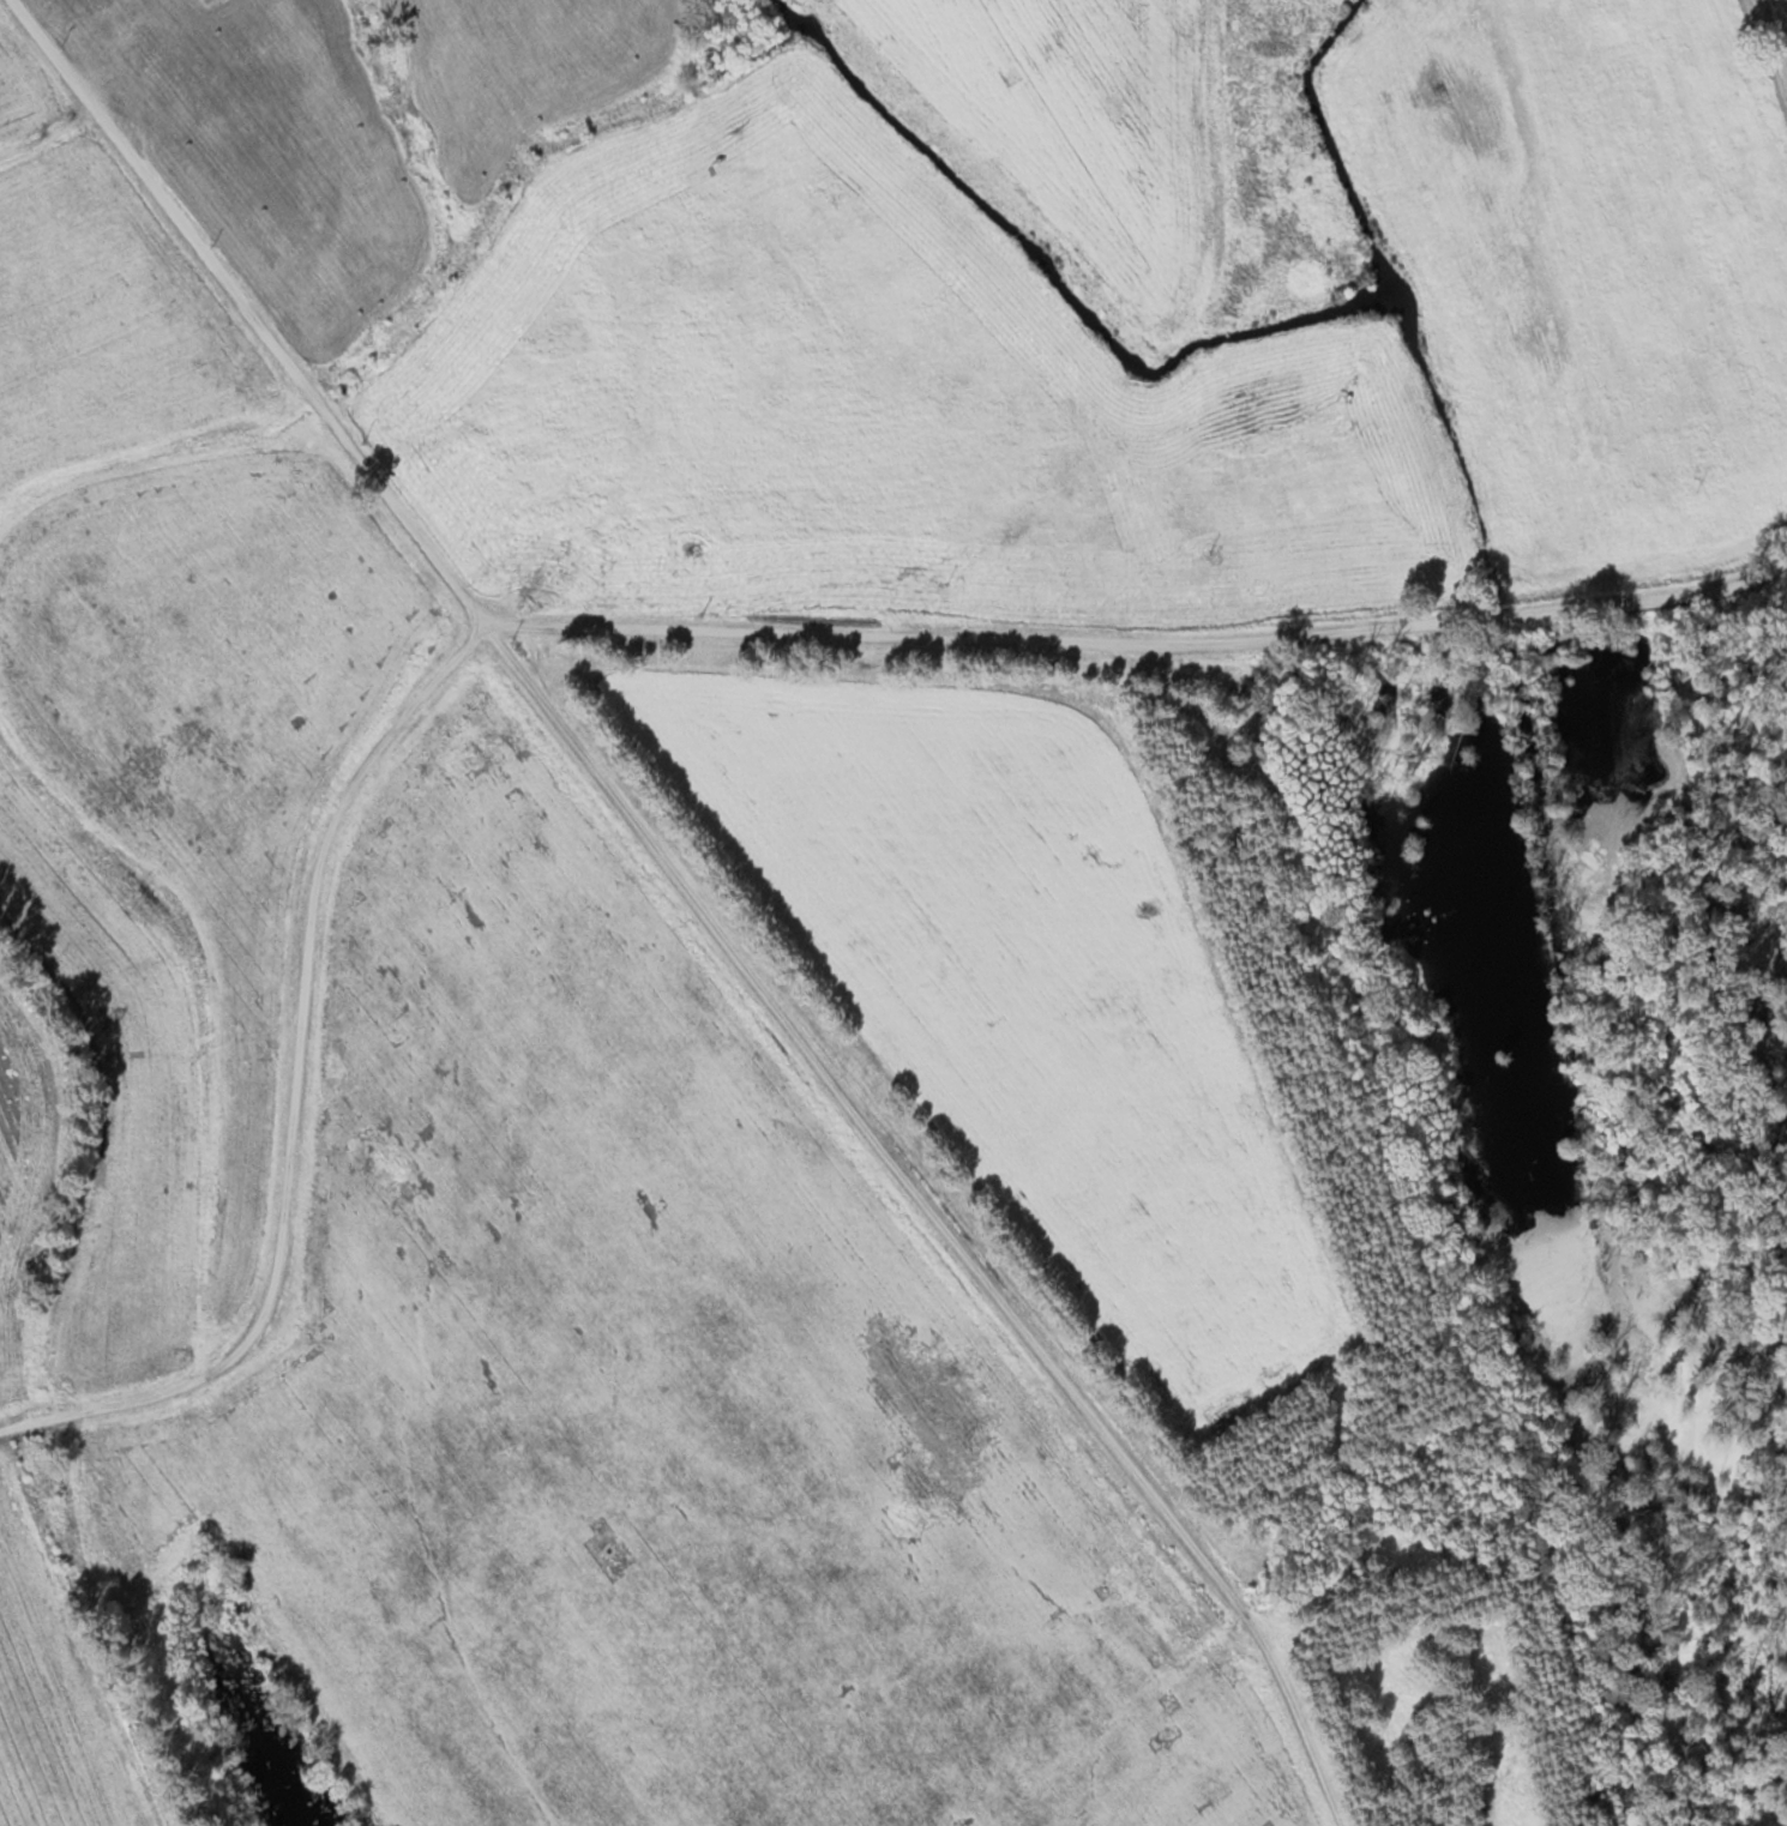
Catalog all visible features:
road: (47, 53)
road: (618, 625)
road: (696, 916)

